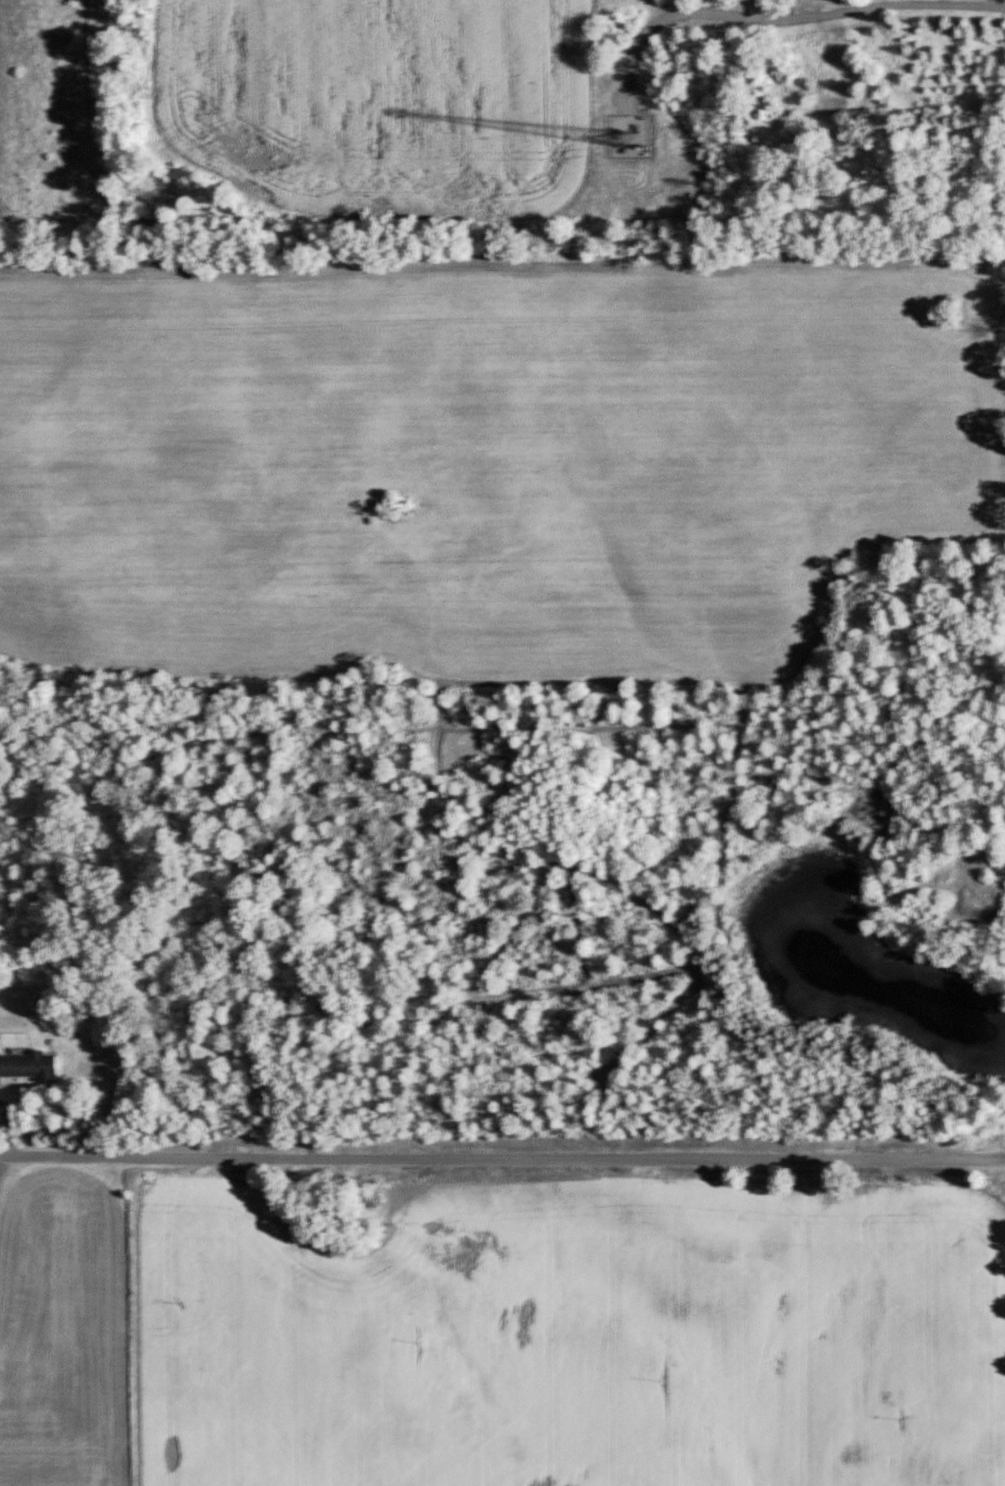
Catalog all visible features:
road: (785, 17)
building: (32, 1064)
road: (502, 1155)

